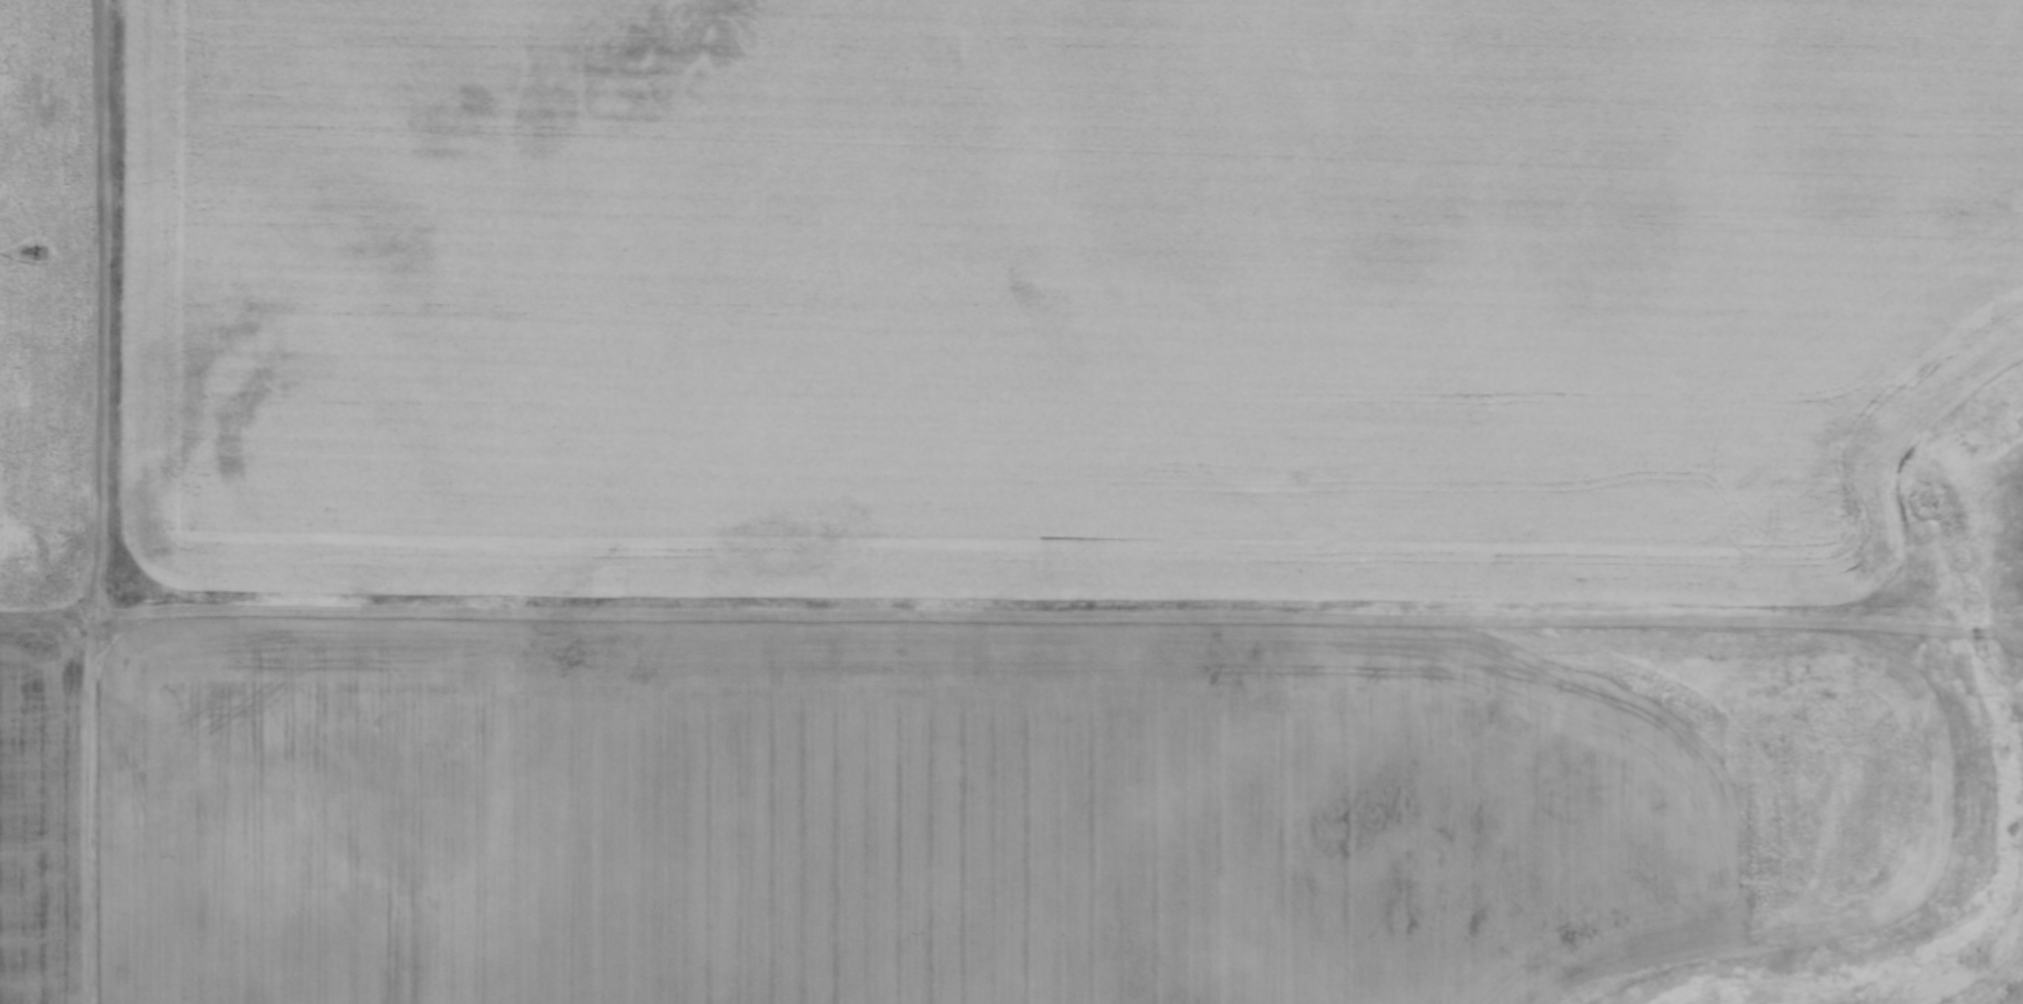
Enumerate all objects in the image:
road: (110, 502)
road: (1011, 611)

